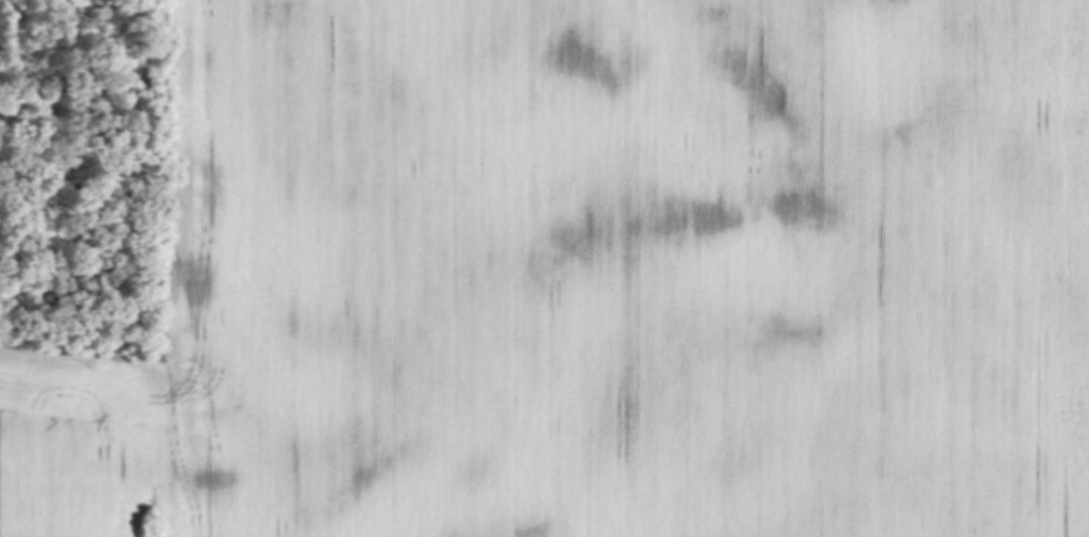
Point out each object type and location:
crop: (570, 278)

